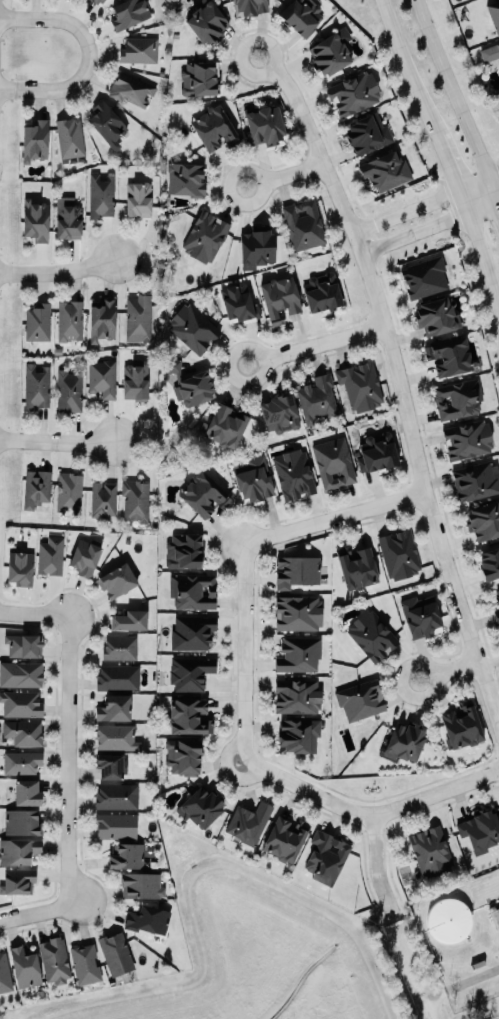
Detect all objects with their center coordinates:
building: (98, 1)
building: (250, 7)
building: (130, 13)
building: (494, 14)
building: (302, 15)
building: (207, 22)
building: (140, 50)
building: (331, 52)
building: (490, 52)
road: (86, 54)
road: (408, 69)
building: (200, 79)
building: (133, 89)
building: (354, 94)
road: (453, 100)
building: (107, 124)
building: (266, 125)
building: (215, 129)
building: (368, 134)
building: (70, 138)
building: (35, 141)
road: (447, 165)
building: (386, 171)
road: (284, 175)
building: (186, 180)
building: (101, 196)
building: (139, 199)
road: (426, 204)
road: (496, 205)
building: (68, 219)
building: (36, 221)
road: (430, 224)
building: (304, 225)
building: (206, 237)
building: (257, 247)
road: (480, 253)
road: (58, 274)
building: (425, 278)
building: (322, 293)
building: (280, 299)
building: (239, 302)
building: (438, 317)
building: (139, 318)
building: (71, 321)
building: (103, 321)
building: (38, 323)
building: (193, 328)
road: (315, 345)
building: (450, 357)
building: (103, 378)
road: (398, 379)
building: (136, 381)
building: (191, 385)
building: (38, 386)
building: (361, 386)
building: (70, 391)
building: (318, 399)
building: (459, 399)
building: (280, 414)
building: (225, 426)
building: (469, 440)
road: (57, 444)
building: (377, 453)
building: (334, 463)
building: (294, 475)
building: (254, 480)
building: (476, 481)
building: (37, 488)
building: (70, 493)
building: (205, 495)
building: (104, 499)
building: (136, 501)
road: (335, 517)
building: (484, 522)
building: (184, 551)
building: (400, 555)
building: (51, 556)
building: (85, 558)
building: (489, 564)
building: (357, 568)
building: (20, 569)
building: (297, 572)
building: (118, 582)
building: (194, 592)
building: (497, 593)
building: (299, 613)
road: (34, 615)
building: (497, 615)
building: (422, 616)
building: (130, 621)
building: (193, 633)
building: (373, 636)
building: (24, 646)
building: (121, 648)
road: (244, 650)
building: (299, 655)
road: (407, 668)
building: (191, 673)
building: (21, 675)
building: (119, 678)
building: (298, 697)
building: (361, 700)
building: (21, 704)
building: (114, 709)
building: (190, 717)
building: (463, 726)
building: (24, 733)
building: (299, 736)
building: (117, 738)
building: (406, 742)
road: (227, 750)
road: (67, 756)
building: (185, 757)
building: (22, 763)
building: (111, 767)
road: (244, 778)
building: (28, 794)
building: (117, 796)
building: (201, 808)
road: (370, 812)
building: (23, 822)
building: (249, 823)
building: (116, 826)
building: (481, 831)
building: (286, 839)
building: (19, 850)
building: (430, 851)
building: (127, 856)
building: (327, 858)
road: (377, 864)
building: (18, 881)
building: (142, 885)
road: (498, 900)
road: (37, 913)
building: (149, 919)
building: (116, 953)
building: (55, 960)
building: (86, 964)
building: (25, 967)
building: (5, 973)
road: (455, 986)

